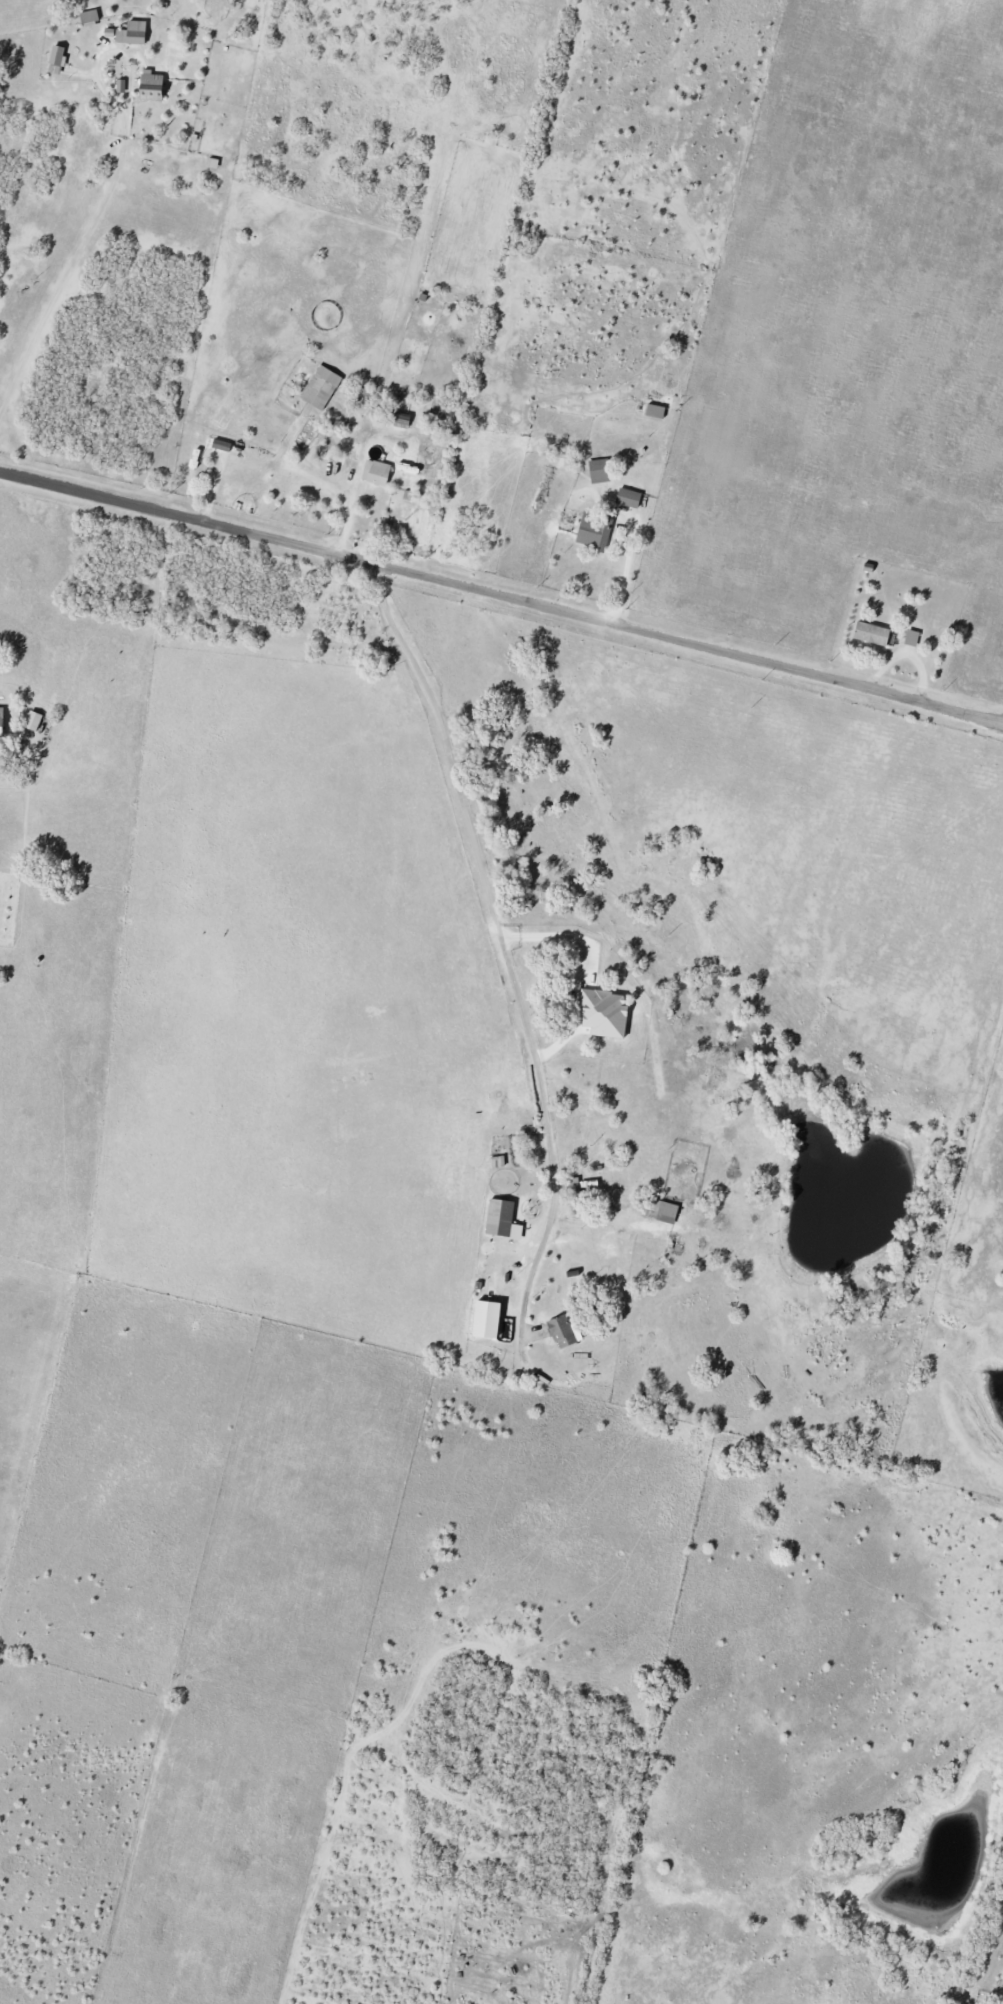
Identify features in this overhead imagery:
building: (90, 17)
building: (134, 34)
road: (111, 55)
building: (58, 60)
building: (154, 87)
road: (68, 264)
building: (321, 388)
building: (601, 472)
building: (378, 473)
building: (629, 499)
building: (595, 532)
road: (627, 572)
road: (502, 597)
building: (872, 634)
building: (912, 639)
building: (34, 722)
building: (3, 725)
road: (499, 937)
building: (607, 1015)
building: (498, 1163)
building: (501, 1218)
building: (490, 1320)
building: (564, 1333)

